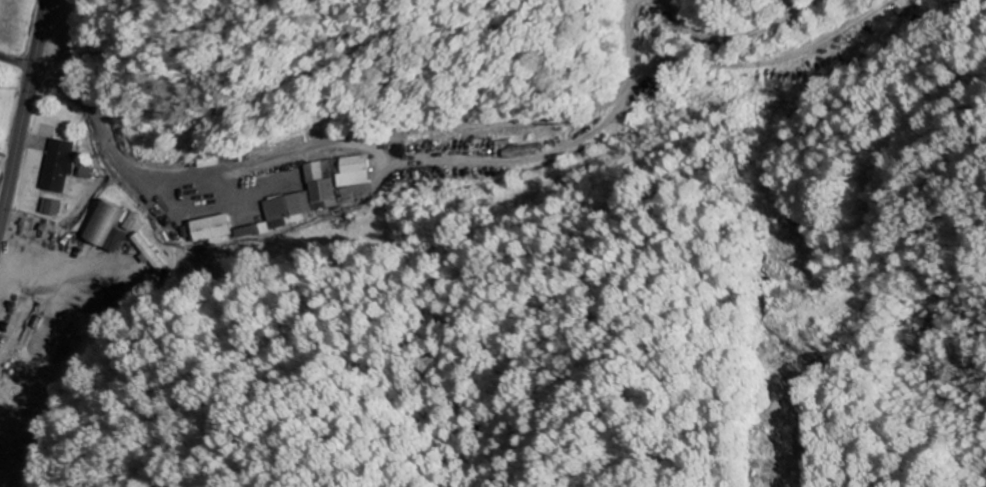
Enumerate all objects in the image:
road: (16, 64)
road: (23, 109)
road: (110, 153)
building: (61, 167)
building: (354, 173)
building: (53, 209)
building: (107, 225)
building: (216, 232)
building: (119, 242)
building: (150, 253)

